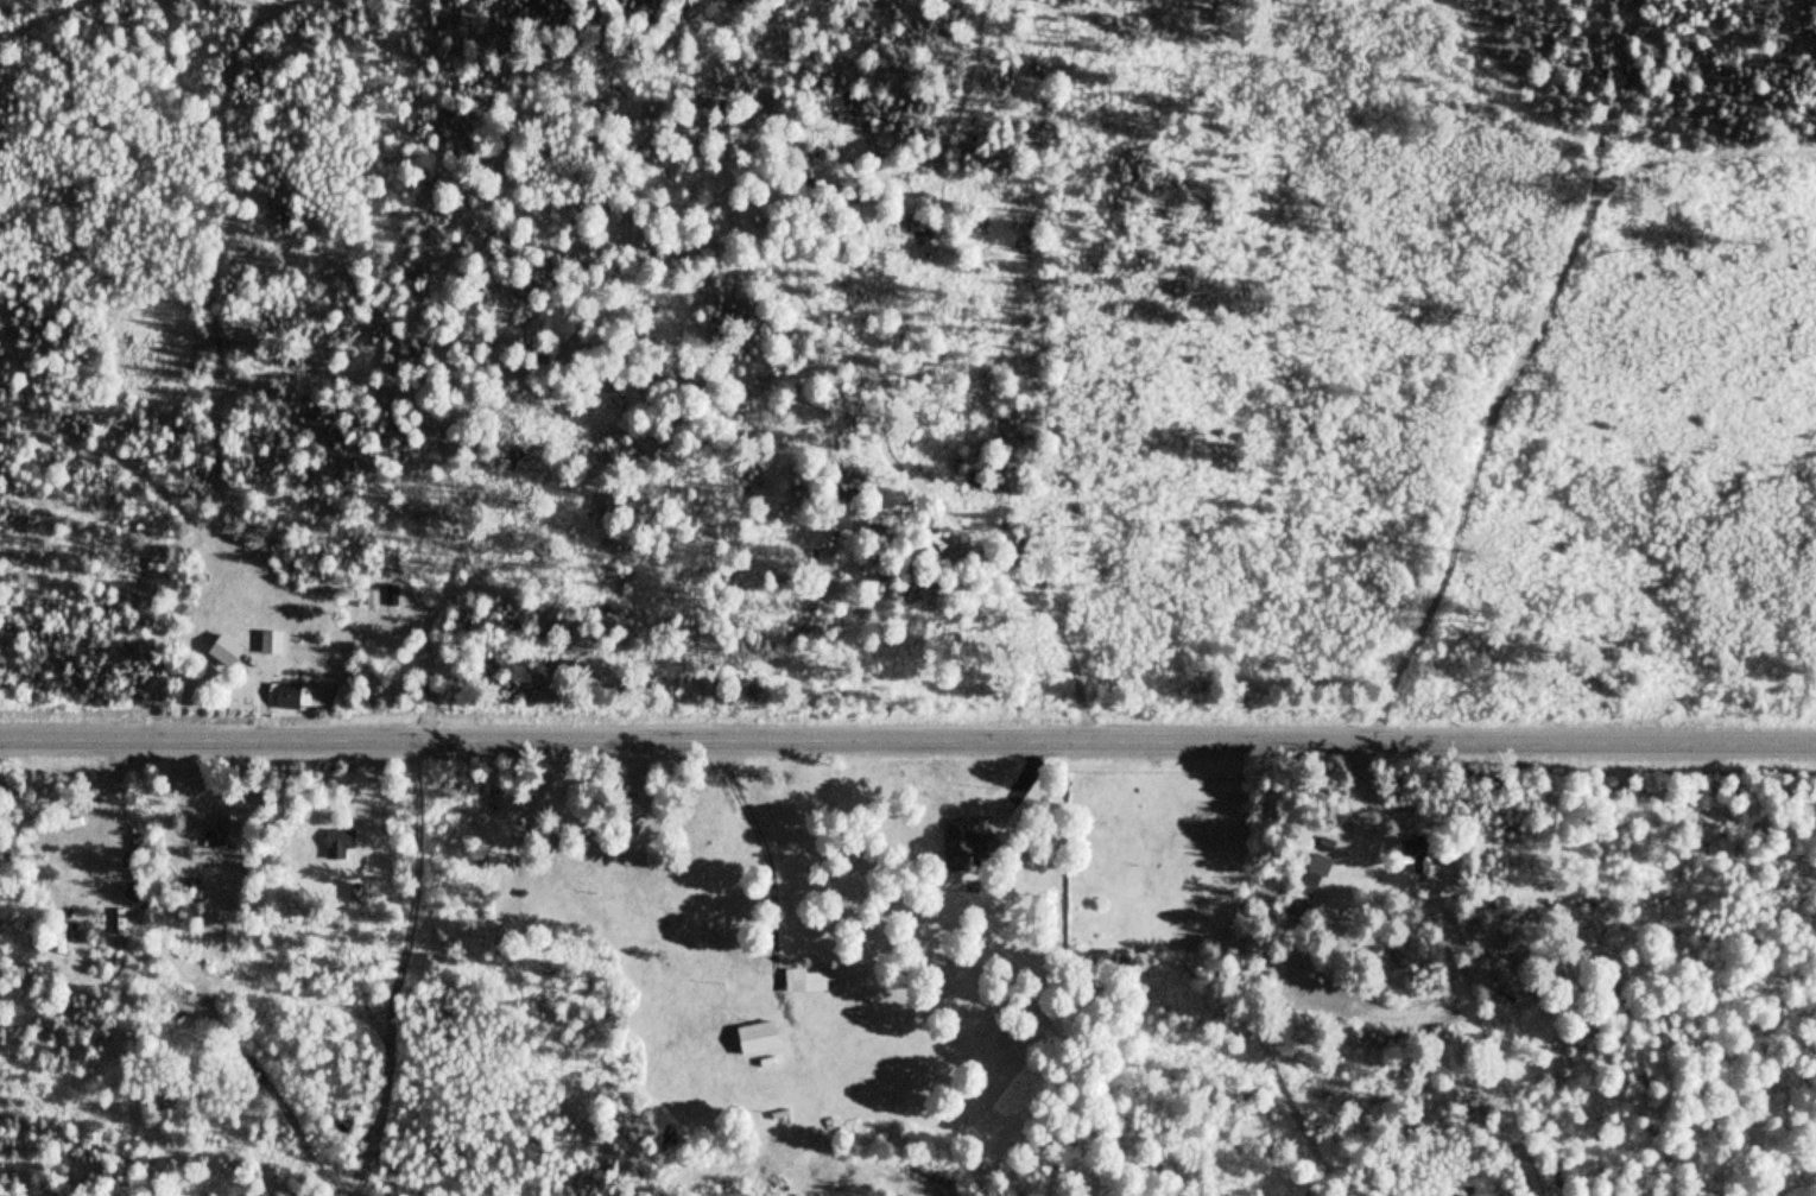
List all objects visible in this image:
road: (1520, 360)
building: (369, 595)
building: (388, 595)
building: (268, 644)
building: (222, 654)
building: (286, 696)
road: (907, 739)
road: (1349, 781)
building: (220, 833)
building: (333, 843)
building: (960, 846)
building: (1323, 847)
road: (768, 862)
building: (1412, 862)
building: (1303, 892)
building: (802, 981)
building: (751, 1037)

